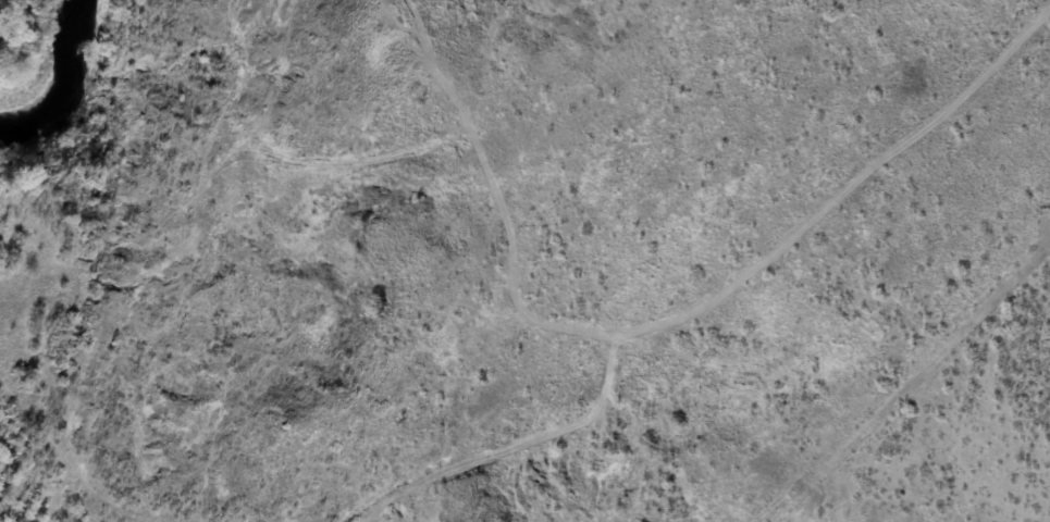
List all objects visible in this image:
river: (61, 72)

